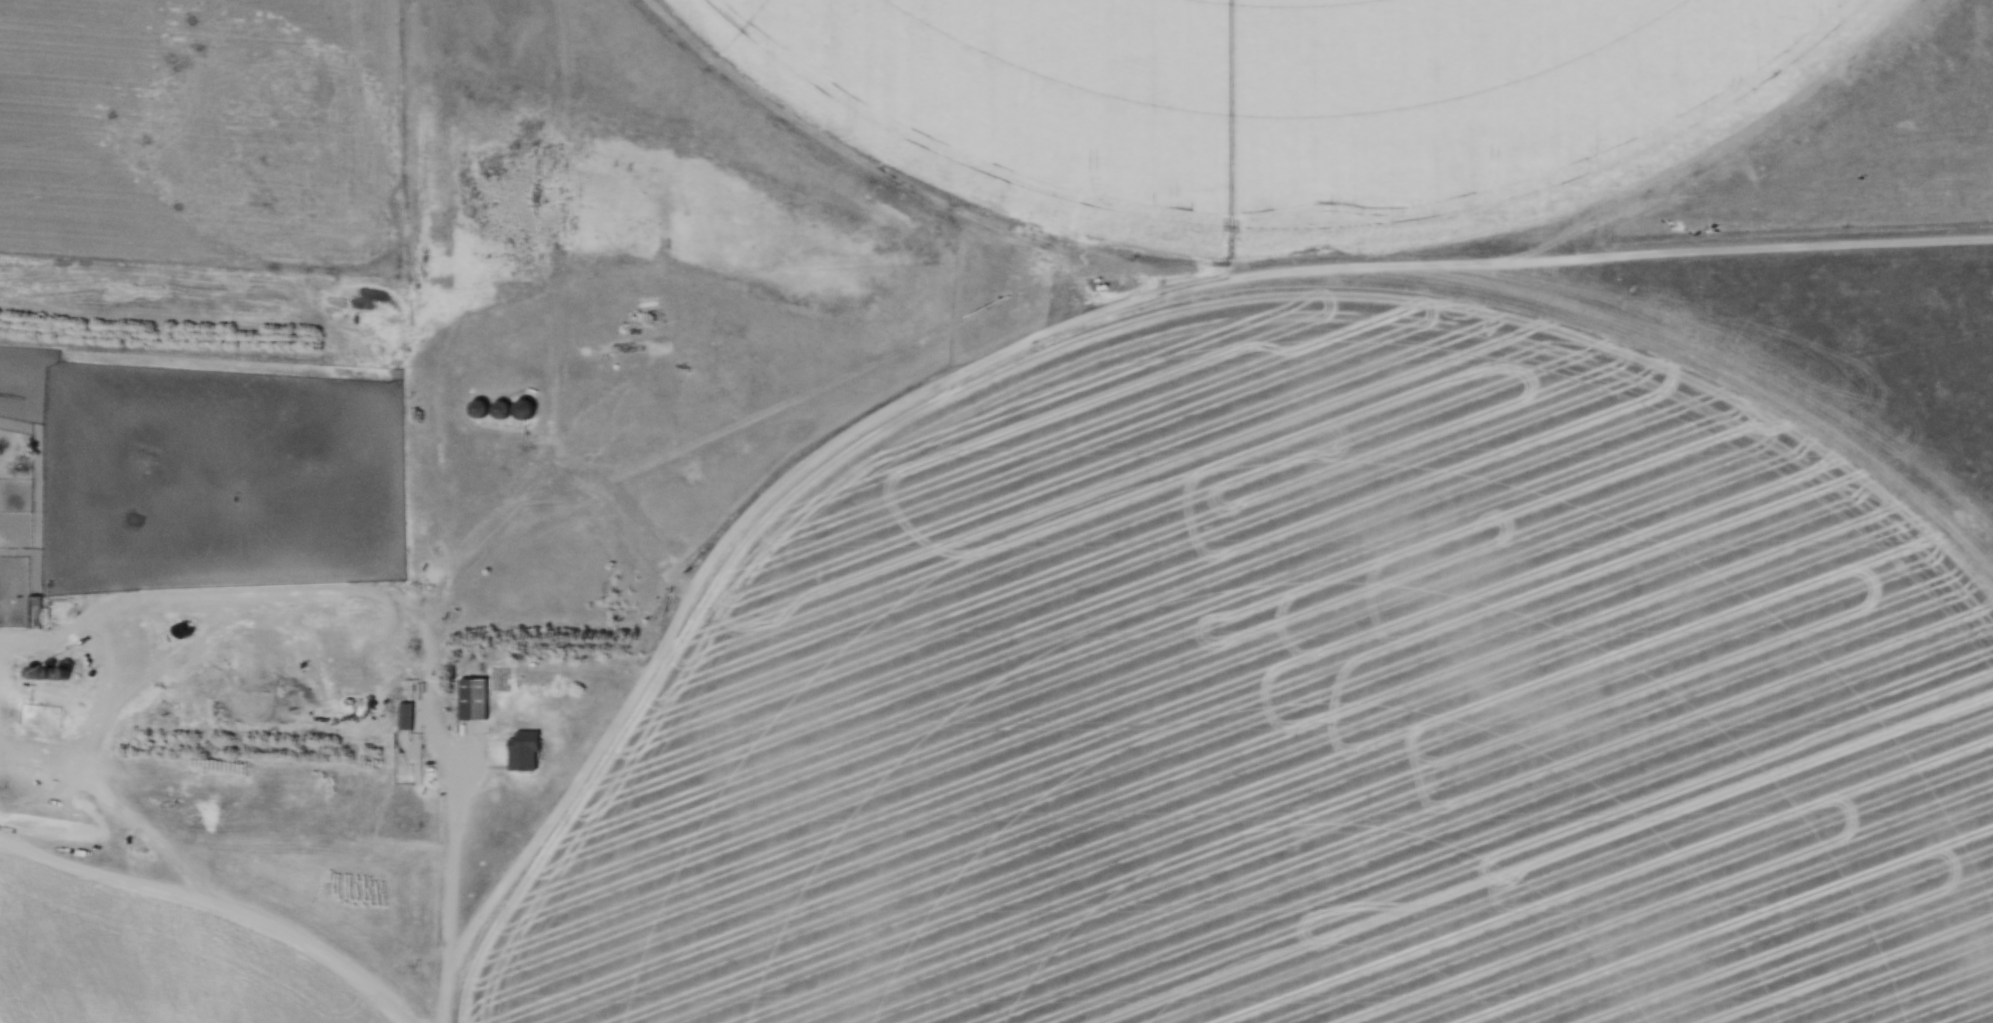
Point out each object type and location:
building: (479, 408)
building: (502, 409)
building: (525, 409)
building: (33, 611)
building: (473, 699)
building: (405, 716)
building: (523, 751)
building: (154, 814)
road: (220, 902)

